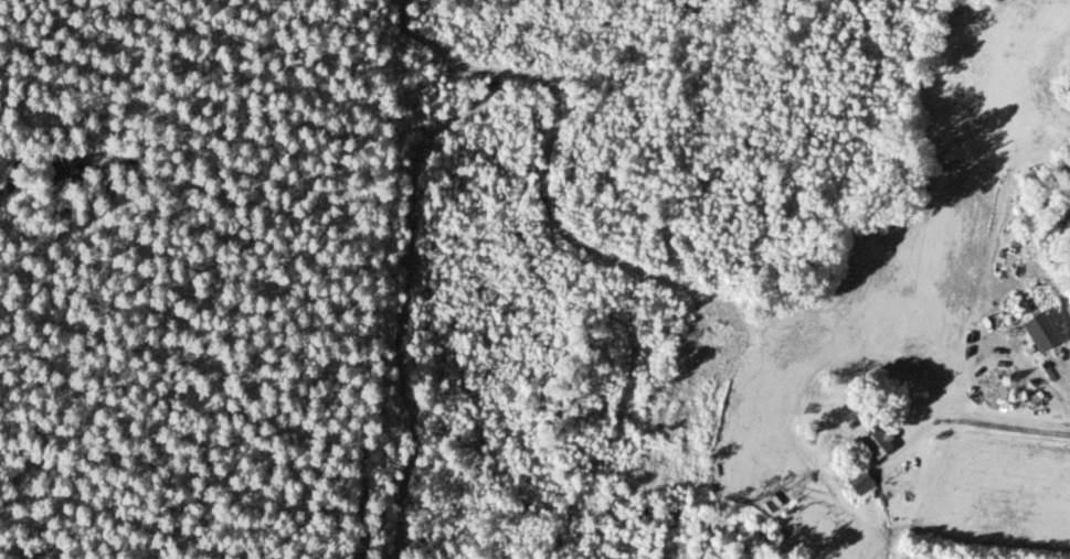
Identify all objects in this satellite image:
road: (1042, 291)
building: (1040, 332)
building: (877, 441)
building: (859, 484)

